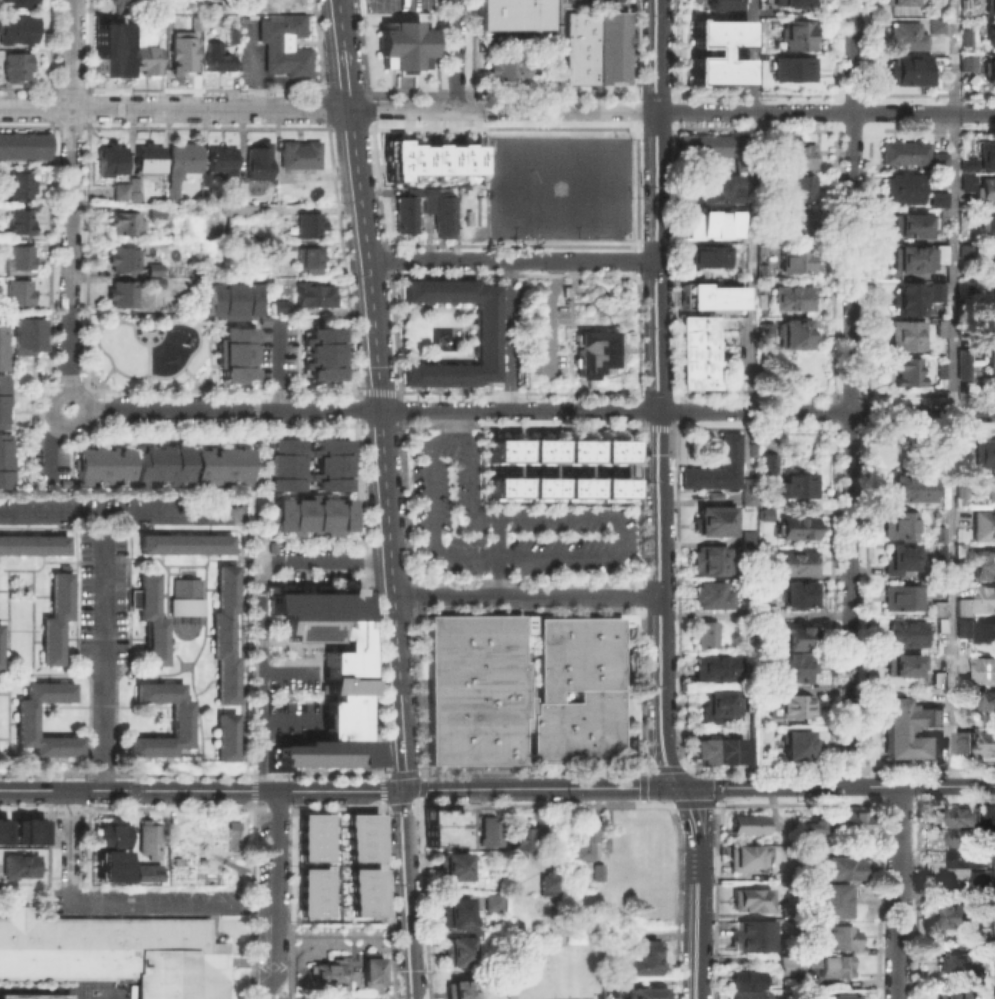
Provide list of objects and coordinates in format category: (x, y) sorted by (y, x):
building: (898, 2)
building: (18, 3)
building: (719, 3)
building: (799, 3)
building: (121, 4)
building: (990, 4)
parking lot: (398, 5)
building: (512, 13)
building: (934, 25)
building: (17, 30)
building: (799, 34)
building: (906, 35)
building: (232, 36)
building: (991, 36)
building: (964, 37)
building: (403, 44)
building: (282, 46)
building: (595, 47)
building: (109, 49)
building: (717, 51)
building: (182, 53)
road: (456, 55)
road: (754, 55)
road: (954, 56)
building: (215, 57)
building: (145, 59)
building: (966, 62)
building: (16, 67)
building: (509, 68)
building: (793, 68)
building: (910, 68)
building: (989, 71)
road: (327, 108)
road: (825, 111)
building: (24, 145)
building: (704, 146)
building: (903, 152)
building: (298, 155)
building: (792, 155)
building: (986, 155)
building: (220, 157)
building: (146, 158)
building: (433, 158)
building: (111, 160)
building: (937, 160)
building: (257, 161)
building: (966, 164)
building: (180, 165)
building: (203, 177)
building: (965, 181)
building: (132, 182)
building: (20, 184)
park: (559, 185)
building: (717, 185)
building: (801, 187)
building: (118, 188)
park: (550, 188)
building: (902, 188)
building: (985, 190)
building: (132, 195)
building: (769, 195)
road: (70, 196)
building: (937, 198)
building: (281, 209)
building: (425, 210)
building: (152, 212)
building: (940, 215)
building: (20, 220)
building: (798, 222)
building: (124, 223)
building: (708, 223)
building: (988, 223)
building: (308, 225)
building: (912, 225)
building: (285, 244)
building: (967, 252)
building: (710, 256)
building: (21, 257)
building: (121, 257)
building: (916, 257)
building: (309, 259)
road: (511, 261)
road: (752, 261)
building: (795, 261)
building: (993, 263)
building: (153, 269)
building: (761, 274)
building: (153, 281)
building: (18, 291)
building: (122, 293)
building: (315, 293)
building: (709, 296)
building: (229, 297)
building: (913, 297)
building: (792, 298)
building: (991, 298)
building: (280, 304)
road: (95, 322)
building: (939, 328)
building: (485, 333)
building: (796, 333)
building: (27, 334)
road: (509, 335)
building: (765, 335)
building: (905, 335)
building: (2, 337)
road: (148, 341)
park: (149, 349)
parking lot: (279, 350)
building: (235, 352)
building: (323, 353)
building: (597, 353)
building: (698, 353)
building: (988, 355)
road: (277, 362)
road: (148, 364)
building: (962, 364)
building: (940, 370)
building: (907, 371)
road: (106, 373)
road: (194, 377)
road: (853, 393)
road: (380, 394)
road: (257, 395)
road: (657, 395)
building: (3, 398)
road: (371, 409)
road: (826, 411)
road: (452, 422)
road: (69, 425)
building: (751, 446)
building: (504, 449)
building: (729, 449)
road: (952, 449)
building: (540, 450)
building: (577, 450)
building: (612, 450)
building: (983, 452)
road: (51, 453)
parking lot: (37, 458)
parking lot: (62, 460)
building: (960, 460)
building: (5, 461)
building: (103, 462)
building: (162, 462)
building: (284, 462)
building: (332, 463)
building: (222, 464)
building: (768, 464)
building: (797, 483)
building: (990, 486)
building: (504, 488)
building: (541, 488)
building: (576, 488)
building: (612, 488)
building: (907, 488)
building: (747, 490)
building: (763, 513)
road: (119, 515)
building: (312, 515)
building: (716, 520)
parking lot: (503, 522)
building: (983, 525)
building: (899, 526)
building: (797, 528)
building: (940, 533)
building: (747, 539)
building: (33, 543)
building: (184, 543)
parking lot: (113, 544)
building: (273, 545)
building: (959, 549)
building: (940, 553)
road: (600, 554)
road: (493, 555)
building: (900, 558)
parking lot: (314, 560)
building: (709, 561)
building: (795, 564)
building: (983, 564)
road: (104, 594)
building: (795, 594)
building: (186, 596)
road: (526, 596)
building: (713, 596)
building: (902, 597)
building: (986, 598)
building: (962, 606)
building: (938, 608)
building: (764, 610)
road: (261, 613)
building: (54, 616)
building: (149, 616)
building: (939, 625)
building: (963, 626)
building: (984, 631)
building: (223, 634)
building: (704, 634)
building: (906, 635)
building: (799, 637)
road: (259, 642)
building: (902, 665)
building: (789, 666)
building: (716, 667)
building: (985, 669)
road: (291, 672)
building: (328, 674)
building: (936, 679)
building: (961, 682)
building: (520, 691)
building: (989, 700)
building: (717, 705)
building: (797, 706)
building: (24, 718)
building: (179, 718)
road: (292, 720)
road: (104, 732)
building: (895, 732)
building: (224, 735)
building: (964, 739)
building: (987, 740)
building: (795, 743)
building: (716, 747)
road: (851, 786)
road: (541, 788)
traffic signals: (676, 788)
road: (692, 788)
road: (15, 790)
road: (219, 790)
traffic signals: (407, 790)
building: (962, 816)
building: (855, 822)
building: (746, 823)
building: (3, 829)
building: (26, 830)
building: (809, 831)
road: (691, 832)
building: (109, 833)
building: (443, 833)
building: (487, 833)
road: (709, 834)
building: (313, 836)
building: (362, 836)
building: (961, 836)
road: (71, 837)
building: (519, 837)
building: (581, 837)
building: (147, 838)
building: (965, 857)
building: (745, 858)
building: (111, 864)
building: (18, 865)
building: (453, 866)
building: (843, 867)
building: (142, 871)
building: (596, 872)
building: (547, 881)
building: (981, 881)
building: (313, 891)
building: (365, 891)
road: (898, 892)
road: (410, 894)
road: (279, 896)
building: (748, 900)
building: (830, 901)
building: (491, 902)
road: (168, 905)
building: (454, 912)
building: (789, 912)
building: (951, 917)
building: (753, 936)
building: (842, 937)
road: (695, 939)
building: (457, 948)
building: (115, 951)
building: (642, 958)
building: (953, 963)
building: (784, 964)
building: (831, 965)
building: (369, 970)
building: (324, 972)
building: (744, 978)
building: (771, 979)
building: (608, 987)
building: (462, 990)
building: (992, 990)
building: (644, 992)
building: (747, 994)
building: (34, 995)
building: (954, 995)
building: (840, 996)

